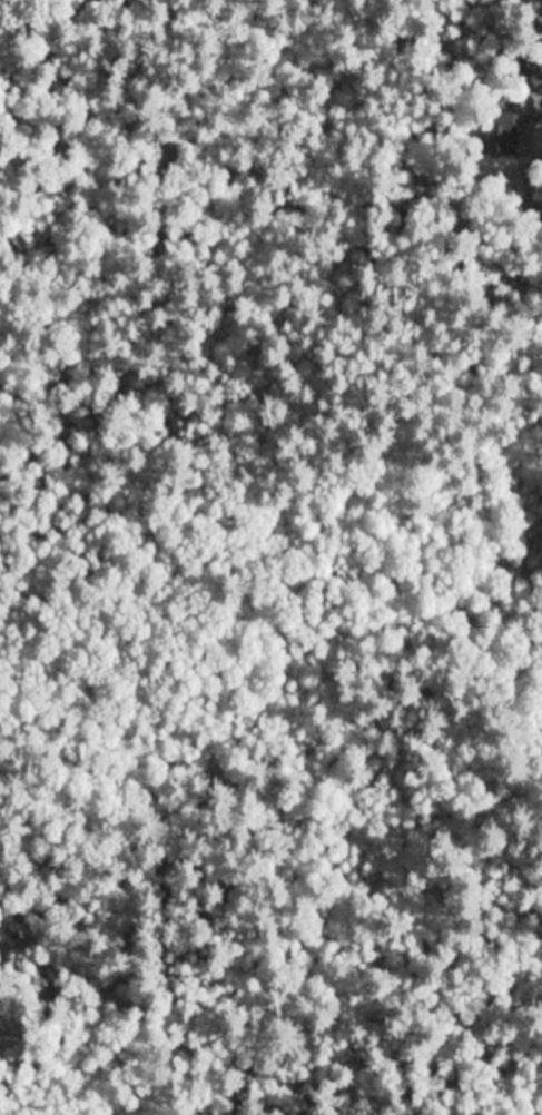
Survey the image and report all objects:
building: (501, 130)

